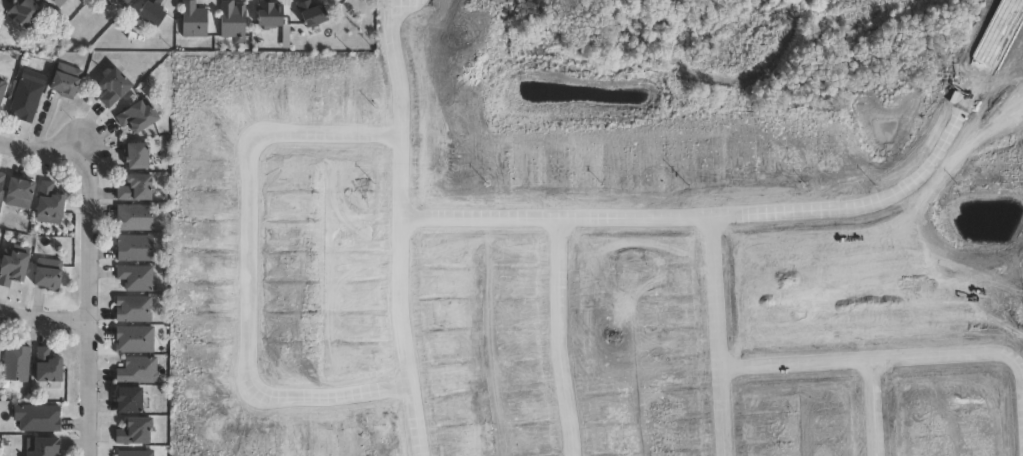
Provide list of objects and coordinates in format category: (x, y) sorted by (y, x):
building: (51, 2)
building: (116, 2)
building: (121, 2)
building: (146, 11)
building: (20, 13)
building: (263, 13)
building: (306, 13)
building: (190, 19)
building: (228, 21)
road: (996, 45)
building: (60, 79)
building: (107, 86)
building: (1, 89)
building: (20, 99)
building: (132, 115)
building: (130, 155)
building: (0, 175)
building: (130, 187)
building: (13, 193)
building: (43, 204)
building: (130, 217)
road: (714, 218)
road: (399, 226)
building: (130, 248)
building: (10, 264)
road: (86, 269)
building: (42, 274)
road: (244, 274)
building: (132, 277)
building: (129, 309)
building: (203, 313)
building: (329, 315)
road: (42, 326)
road: (712, 337)
building: (131, 339)
building: (390, 340)
road: (555, 340)
road: (908, 360)
building: (12, 363)
building: (41, 366)
building: (134, 371)
building: (123, 401)
road: (869, 409)
building: (35, 419)
building: (129, 431)
building: (36, 447)
building: (130, 453)

